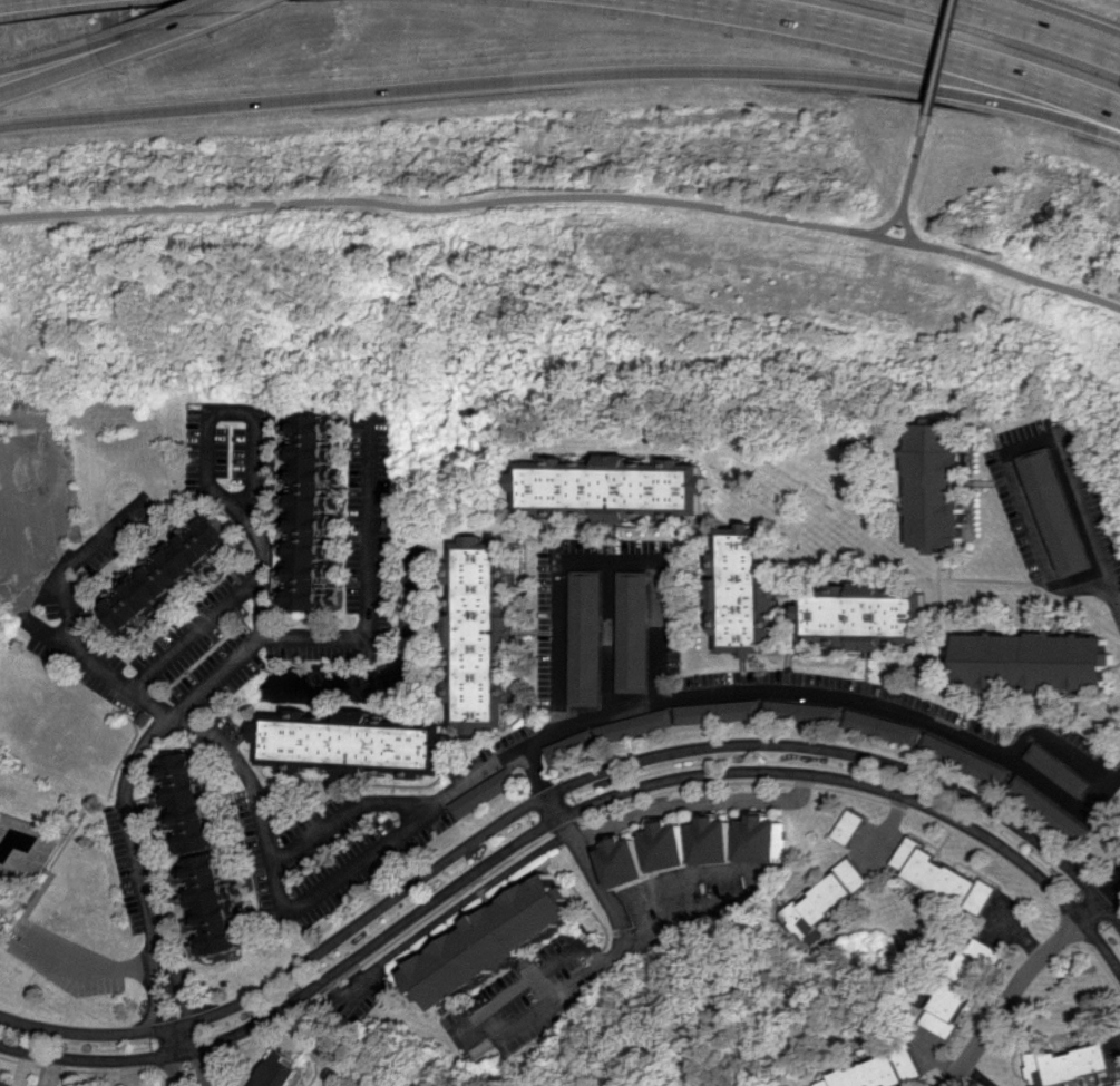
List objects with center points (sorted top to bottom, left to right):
road: (225, 7)
road: (995, 14)
road: (1012, 16)
road: (191, 20)
road: (1084, 43)
road: (899, 45)
road: (85, 47)
road: (937, 56)
road: (86, 61)
road: (561, 76)
road: (909, 183)
road: (566, 199)
road: (910, 231)
road: (21, 410)
road: (247, 413)
road: (1017, 441)
building: (938, 486)
building: (615, 488)
building: (314, 511)
building: (1056, 511)
road: (595, 558)
road: (74, 561)
building: (173, 575)
road: (372, 591)
building: (743, 593)
road: (1118, 601)
road: (221, 610)
road: (9, 616)
building: (861, 616)
building: (633, 630)
road: (608, 634)
building: (586, 638)
building: (1033, 662)
road: (95, 665)
road: (217, 674)
building: (718, 712)
building: (802, 712)
road: (578, 720)
building: (883, 726)
road: (1058, 744)
building: (356, 745)
building: (965, 760)
road: (632, 764)
building: (1059, 770)
road: (542, 782)
road: (639, 789)
building: (486, 793)
road: (1106, 798)
road: (698, 802)
building: (189, 804)
building: (1049, 811)
road: (347, 814)
road: (129, 821)
road: (892, 824)
building: (851, 826)
building: (769, 840)
building: (722, 841)
building: (675, 847)
building: (632, 862)
building: (943, 875)
road: (1111, 890)
building: (829, 901)
building: (213, 907)
road: (1012, 926)
building: (498, 940)
road: (614, 948)
road: (99, 969)
road: (178, 980)
road: (154, 986)
road: (1015, 986)
building: (961, 987)
road: (80, 1034)
road: (195, 1036)
road: (169, 1057)
road: (938, 1057)
road: (98, 1061)
building: (1073, 1064)
building: (280, 1070)
building: (879, 1072)
road: (977, 1075)
building: (7, 1083)
building: (1118, 1085)

